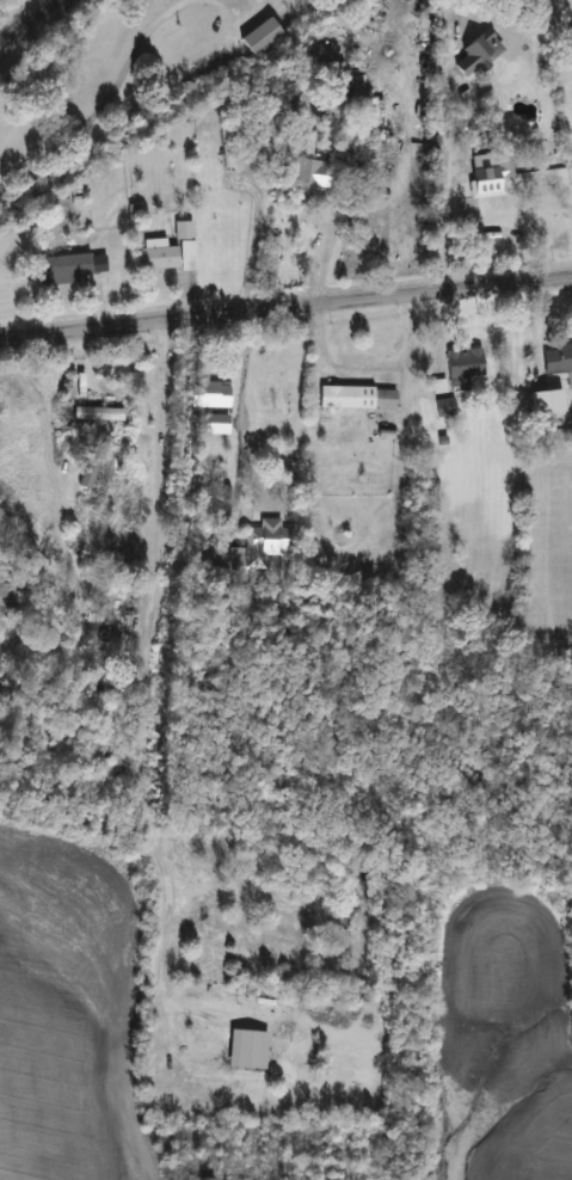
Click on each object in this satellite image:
railway: (26, 24)
building: (260, 36)
road: (104, 97)
building: (344, 155)
building: (309, 173)
building: (488, 198)
road: (438, 227)
building: (167, 253)
road: (324, 253)
building: (69, 269)
road: (186, 299)
road: (285, 306)
building: (556, 359)
building: (463, 367)
building: (209, 394)
building: (362, 401)
building: (447, 407)
building: (96, 413)
building: (216, 424)
building: (250, 549)
building: (6, 585)
building: (87, 631)
road: (142, 695)
building: (93, 751)

